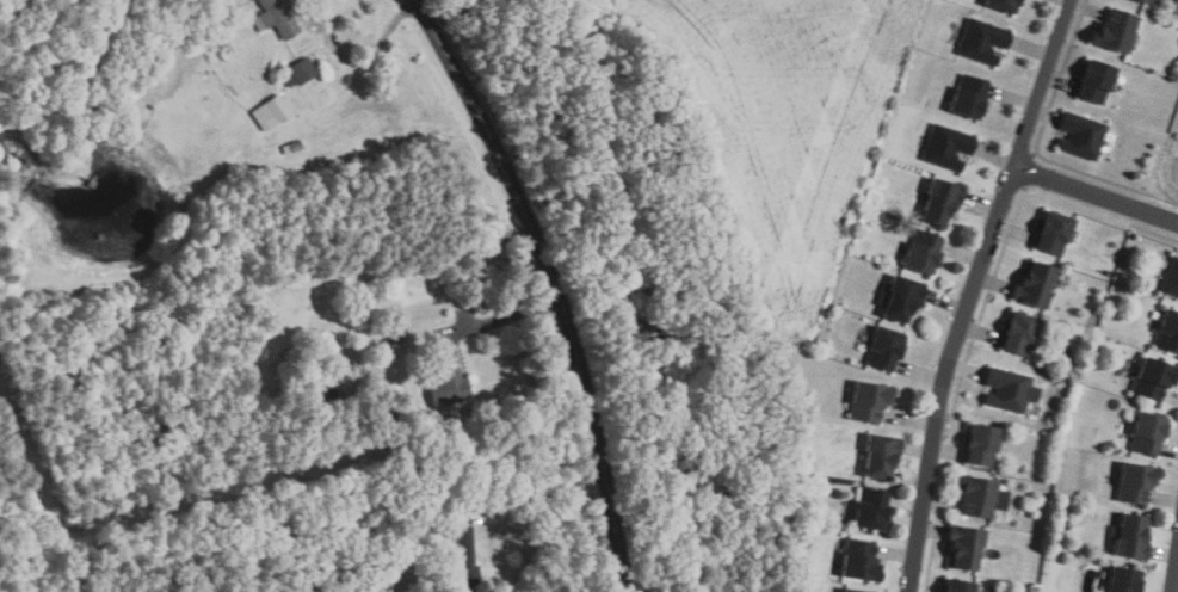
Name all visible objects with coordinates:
building: (1141, 0)
building: (1148, 1)
building: (1005, 5)
building: (278, 18)
building: (1117, 31)
building: (985, 42)
road: (356, 63)
building: (298, 70)
building: (1098, 81)
building: (972, 97)
building: (270, 113)
building: (1081, 136)
building: (949, 148)
road: (1094, 196)
building: (944, 201)
building: (1055, 233)
building: (925, 252)
building: (1172, 279)
road: (556, 283)
building: (1036, 284)
road: (970, 291)
building: (901, 297)
road: (506, 319)
building: (1020, 332)
building: (1170, 332)
building: (395, 339)
building: (887, 349)
building: (1155, 378)
building: (448, 381)
building: (1011, 391)
building: (870, 401)
building: (399, 423)
building: (1151, 432)
building: (982, 444)
building: (883, 455)
building: (1137, 482)
road: (539, 493)
building: (982, 497)
building: (874, 510)
building: (1131, 538)
building: (967, 548)
building: (464, 557)
building: (863, 561)
road: (1174, 571)
building: (1128, 580)
building: (960, 586)
building: (852, 591)

